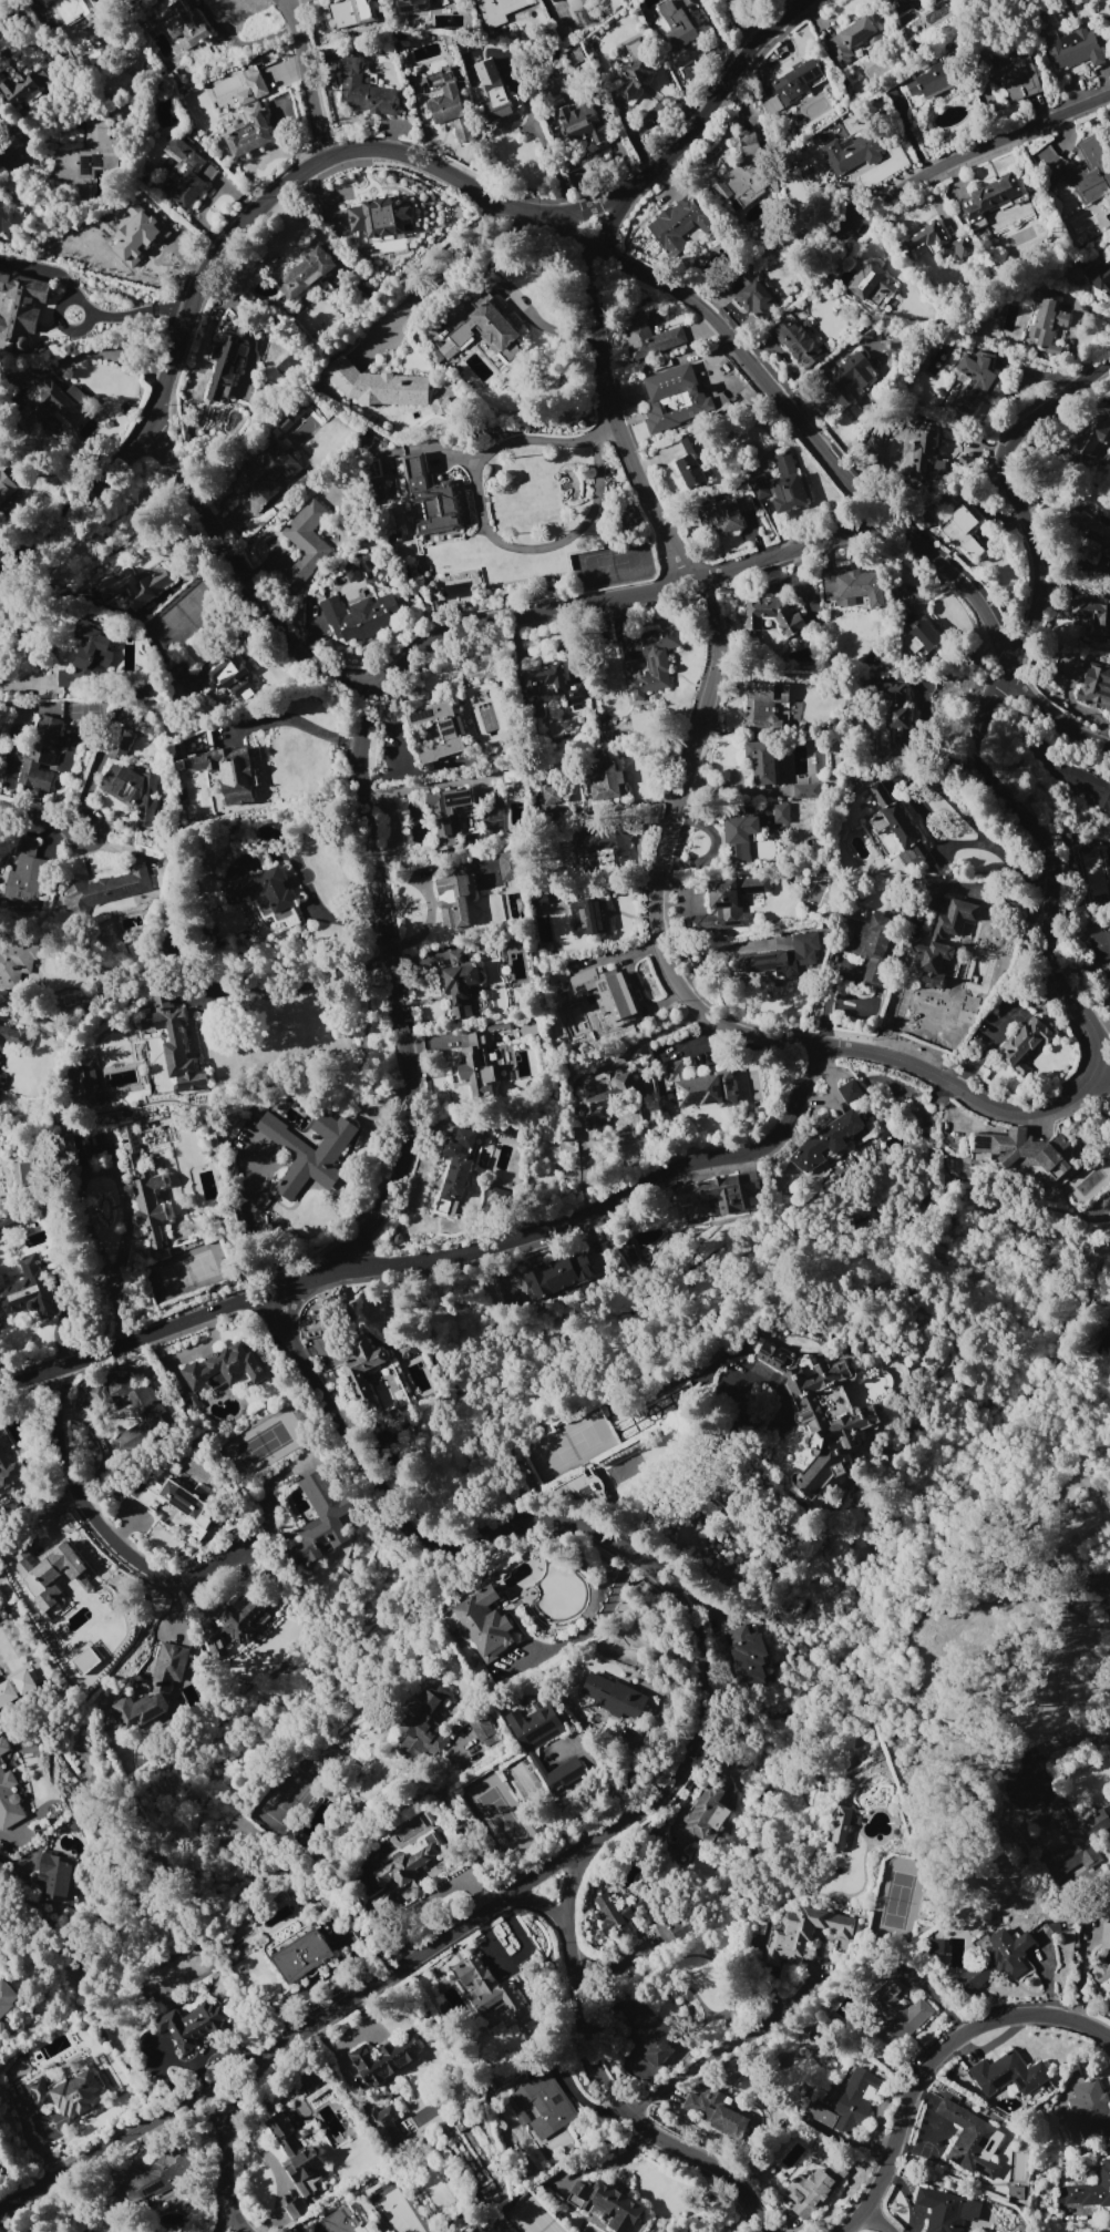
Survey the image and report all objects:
building: (903, 3)
building: (81, 6)
building: (410, 6)
building: (1108, 7)
building: (494, 11)
building: (349, 13)
building: (182, 23)
building: (677, 27)
building: (849, 39)
building: (1072, 48)
building: (634, 68)
building: (486, 72)
building: (1010, 75)
road: (302, 79)
building: (438, 79)
building: (796, 81)
building: (932, 82)
building: (22, 85)
building: (253, 89)
building: (362, 90)
building: (500, 104)
building: (770, 106)
building: (450, 112)
building: (587, 117)
building: (569, 125)
building: (245, 134)
road: (3, 145)
road: (976, 150)
building: (88, 151)
road: (347, 151)
building: (850, 154)
building: (1080, 170)
building: (185, 173)
building: (740, 175)
building: (989, 199)
building: (378, 217)
building: (3, 221)
building: (677, 225)
building: (138, 240)
building: (936, 243)
road: (443, 272)
building: (305, 273)
building: (1099, 276)
building: (870, 285)
building: (751, 296)
building: (20, 307)
road: (127, 313)
building: (1047, 325)
building: (484, 328)
building: (647, 337)
building: (796, 341)
building: (441, 350)
road: (95, 354)
building: (223, 368)
building: (844, 378)
building: (975, 378)
building: (376, 386)
building: (658, 395)
building: (54, 400)
building: (440, 406)
building: (1092, 437)
building: (364, 441)
building: (382, 444)
building: (921, 446)
building: (690, 462)
road: (836, 470)
building: (265, 474)
building: (785, 485)
building: (757, 488)
building: (4, 489)
building: (429, 496)
building: (724, 513)
building: (962, 530)
building: (1089, 530)
building: (393, 537)
road: (492, 540)
building: (305, 543)
building: (351, 574)
road: (246, 579)
building: (135, 587)
building: (854, 588)
road: (626, 594)
building: (1091, 615)
building: (358, 616)
building: (772, 616)
building: (922, 637)
building: (92, 648)
road: (715, 657)
building: (649, 658)
building: (174, 665)
building: (226, 673)
building: (63, 678)
building: (553, 686)
building: (1094, 686)
building: (144, 690)
building: (893, 705)
building: (767, 708)
road: (297, 721)
building: (445, 731)
building: (119, 745)
building: (39, 754)
building: (760, 762)
building: (229, 772)
building: (513, 777)
building: (606, 779)
building: (1080, 781)
building: (134, 791)
building: (804, 791)
building: (551, 795)
building: (448, 811)
building: (780, 813)
building: (891, 819)
road: (43, 820)
road: (391, 822)
building: (740, 839)
building: (599, 844)
building: (507, 866)
building: (24, 876)
building: (106, 889)
building: (260, 889)
building: (452, 900)
building: (539, 900)
building: (727, 904)
building: (586, 918)
building: (953, 922)
building: (1099, 944)
building: (867, 946)
building: (785, 956)
building: (16, 961)
building: (927, 961)
building: (555, 974)
road: (390, 981)
building: (460, 983)
road: (295, 989)
building: (606, 994)
road: (1100, 1027)
building: (12, 1037)
building: (175, 1042)
building: (1024, 1044)
building: (491, 1062)
road: (918, 1067)
building: (0, 1076)
road: (580, 1077)
building: (85, 1083)
building: (700, 1087)
building: (849, 1092)
building: (610, 1096)
building: (826, 1140)
building: (1018, 1149)
building: (308, 1151)
building: (454, 1169)
building: (22, 1176)
road: (119, 1186)
building: (721, 1191)
building: (144, 1192)
building: (9, 1225)
road: (247, 1225)
building: (557, 1276)
building: (27, 1292)
building: (312, 1333)
building: (407, 1352)
building: (223, 1370)
building: (360, 1391)
building: (192, 1402)
building: (132, 1407)
building: (819, 1421)
building: (2, 1442)
building: (9, 1474)
building: (595, 1485)
building: (135, 1491)
building: (179, 1506)
building: (320, 1521)
road: (111, 1534)
building: (51, 1562)
road: (1109, 1577)
building: (238, 1621)
building: (483, 1624)
building: (747, 1656)
building: (82, 1660)
building: (16, 1687)
building: (153, 1688)
road: (705, 1688)
building: (611, 1697)
building: (423, 1724)
building: (480, 1727)
building: (539, 1740)
road: (1055, 1744)
building: (2, 1747)
road: (627, 1772)
building: (8, 1801)
building: (707, 1811)
building: (839, 1829)
building: (1071, 1834)
building: (408, 1866)
building: (55, 1875)
road: (535, 1904)
building: (618, 1915)
building: (672, 1928)
building: (801, 1934)
building: (1104, 1936)
building: (935, 1947)
building: (299, 1953)
building: (996, 1959)
building: (1109, 1959)
building: (1100, 1975)
building: (490, 1990)
building: (6, 1997)
road: (781, 2006)
building: (897, 2009)
building: (192, 2025)
building: (649, 2034)
road: (218, 2047)
building: (386, 2058)
road: (929, 2058)
road: (178, 2065)
building: (1007, 2074)
road: (680, 2075)
road: (600, 2076)
building: (68, 2095)
road: (237, 2099)
building: (544, 2105)
building: (847, 2105)
building: (716, 2109)
building: (1089, 2109)
building: (521, 2118)
building: (384, 2126)
road: (25, 2140)
building: (970, 2140)
road: (104, 2157)
building: (297, 2157)
road: (224, 2161)
building: (156, 2175)
building: (814, 2188)
building: (1087, 2190)
building: (1015, 2194)
building: (608, 2203)
building: (295, 2209)
building: (944, 2210)
building: (341, 2221)
road: (233, 2222)
road: (875, 2222)
building: (474, 2230)

